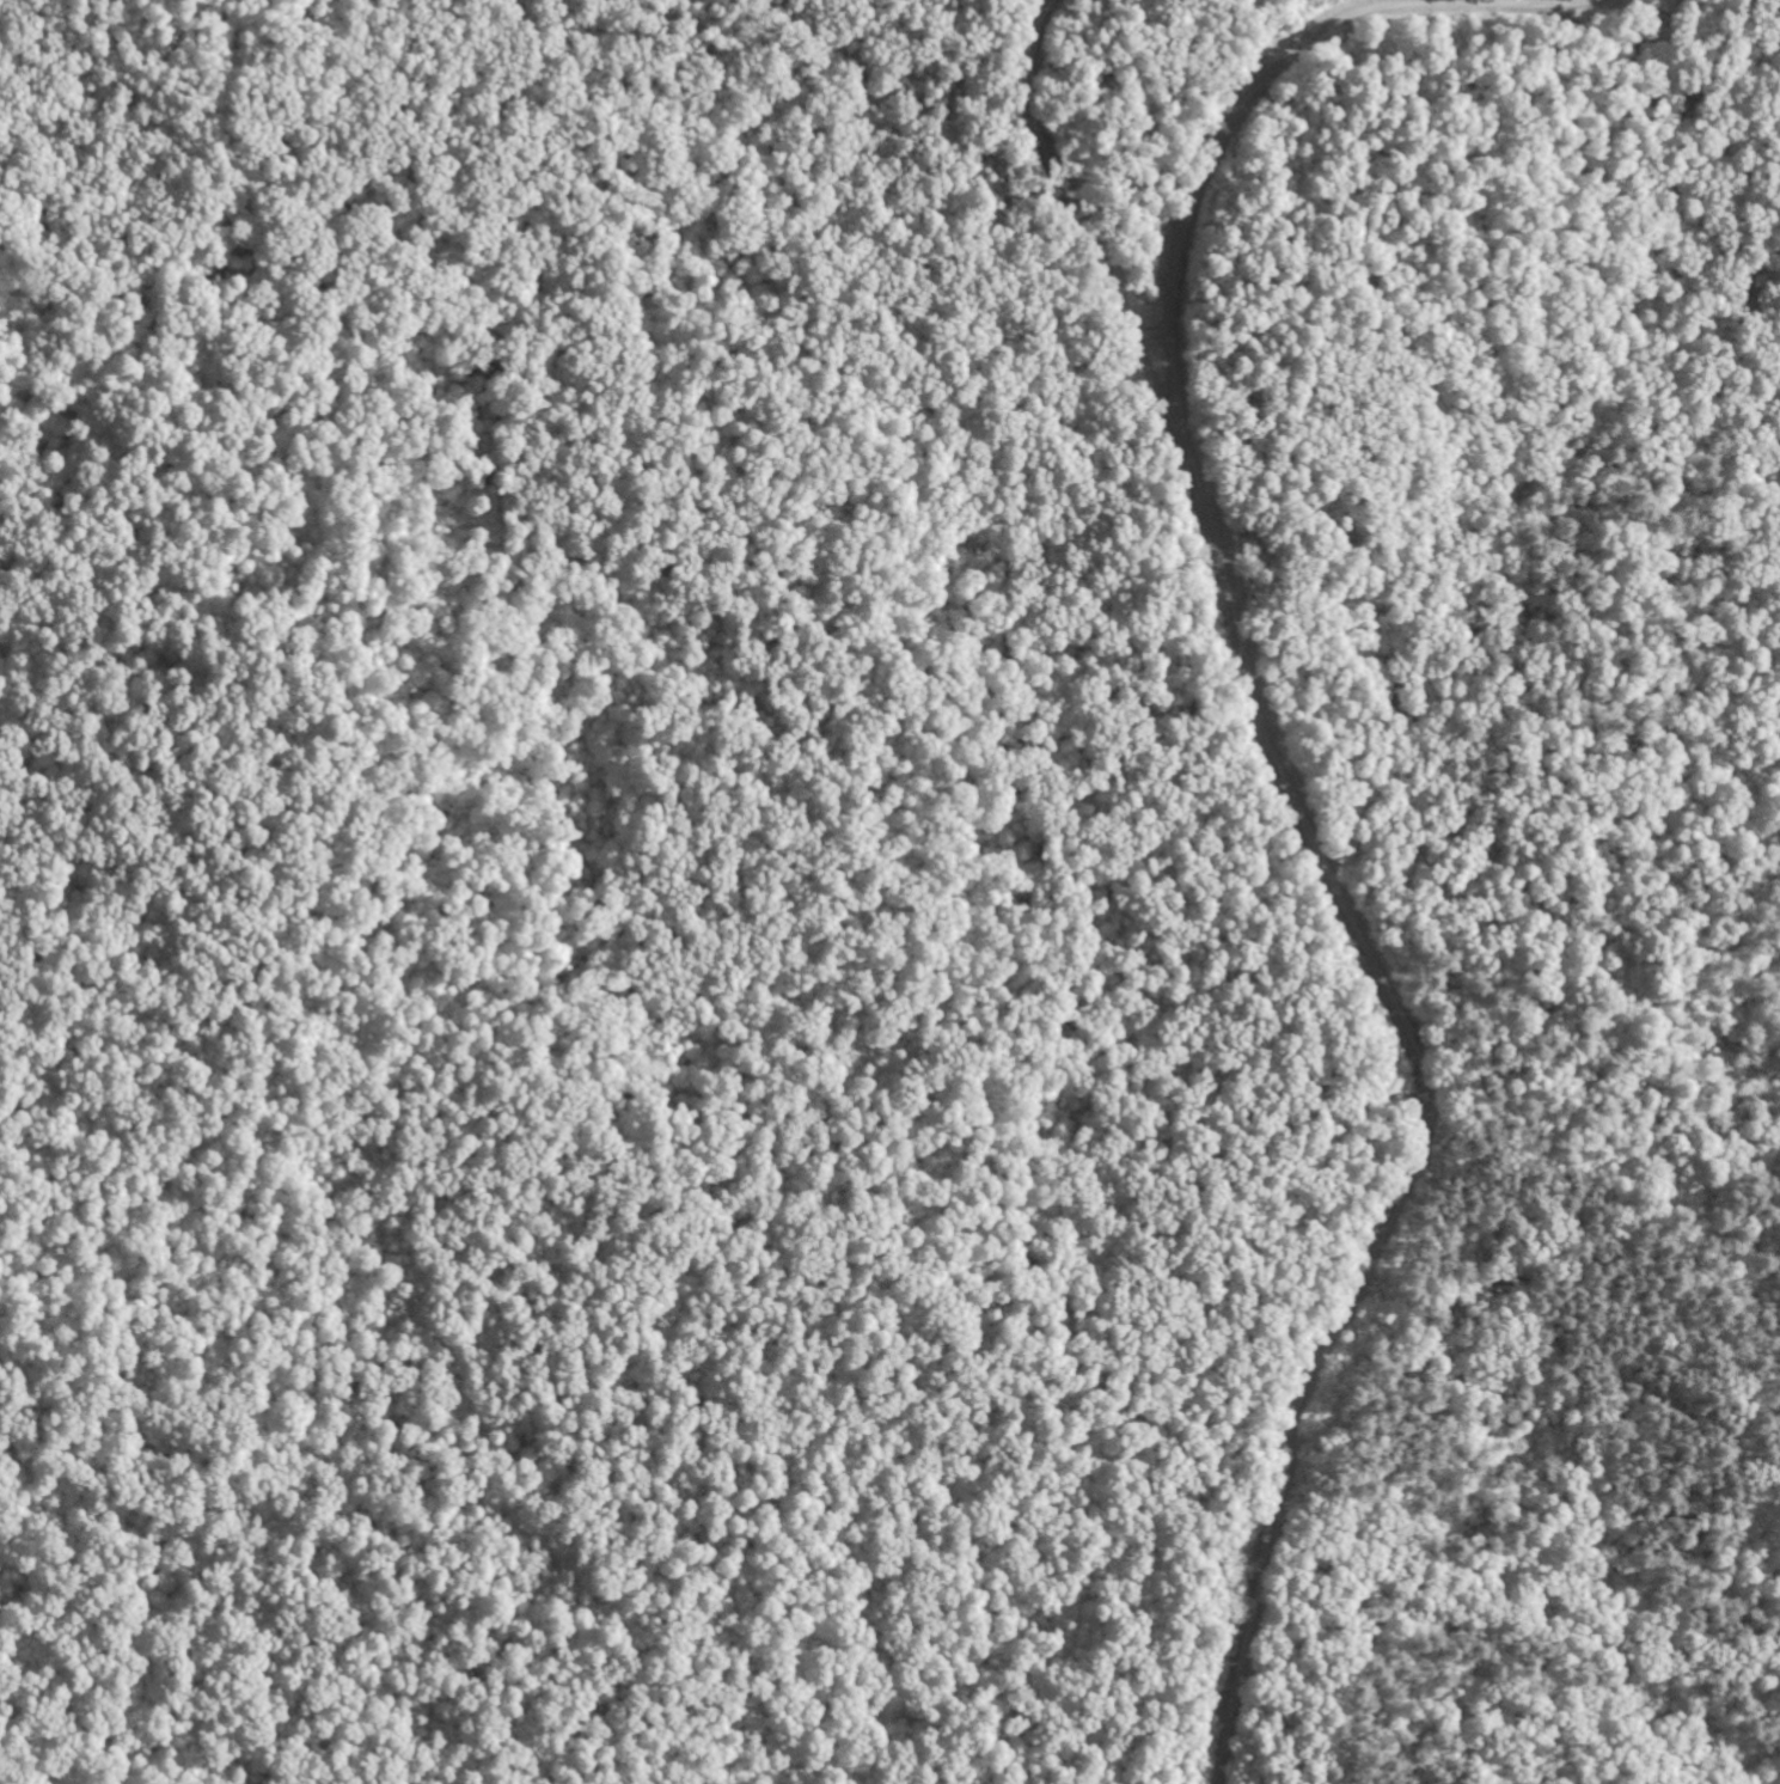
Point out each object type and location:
road: (1264, 81)
road: (1075, 215)
road: (1423, 1093)

